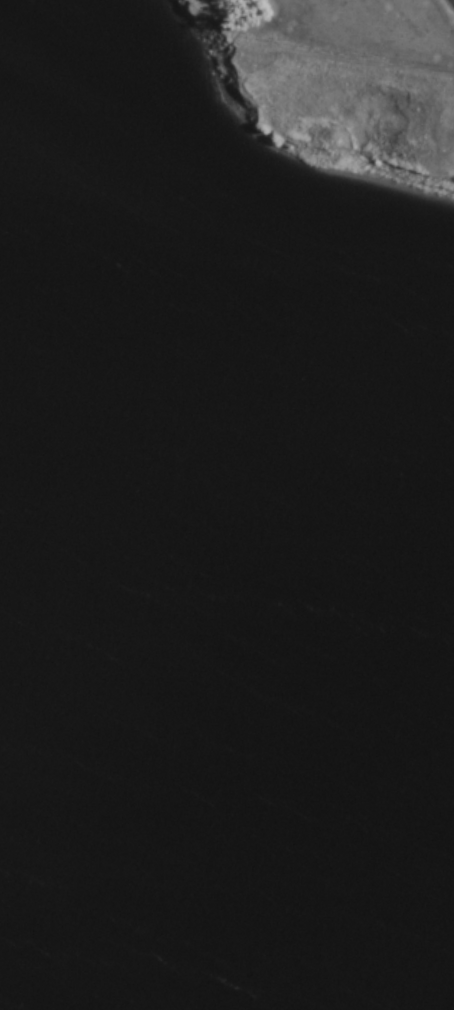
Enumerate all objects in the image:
road: (313, 48)

